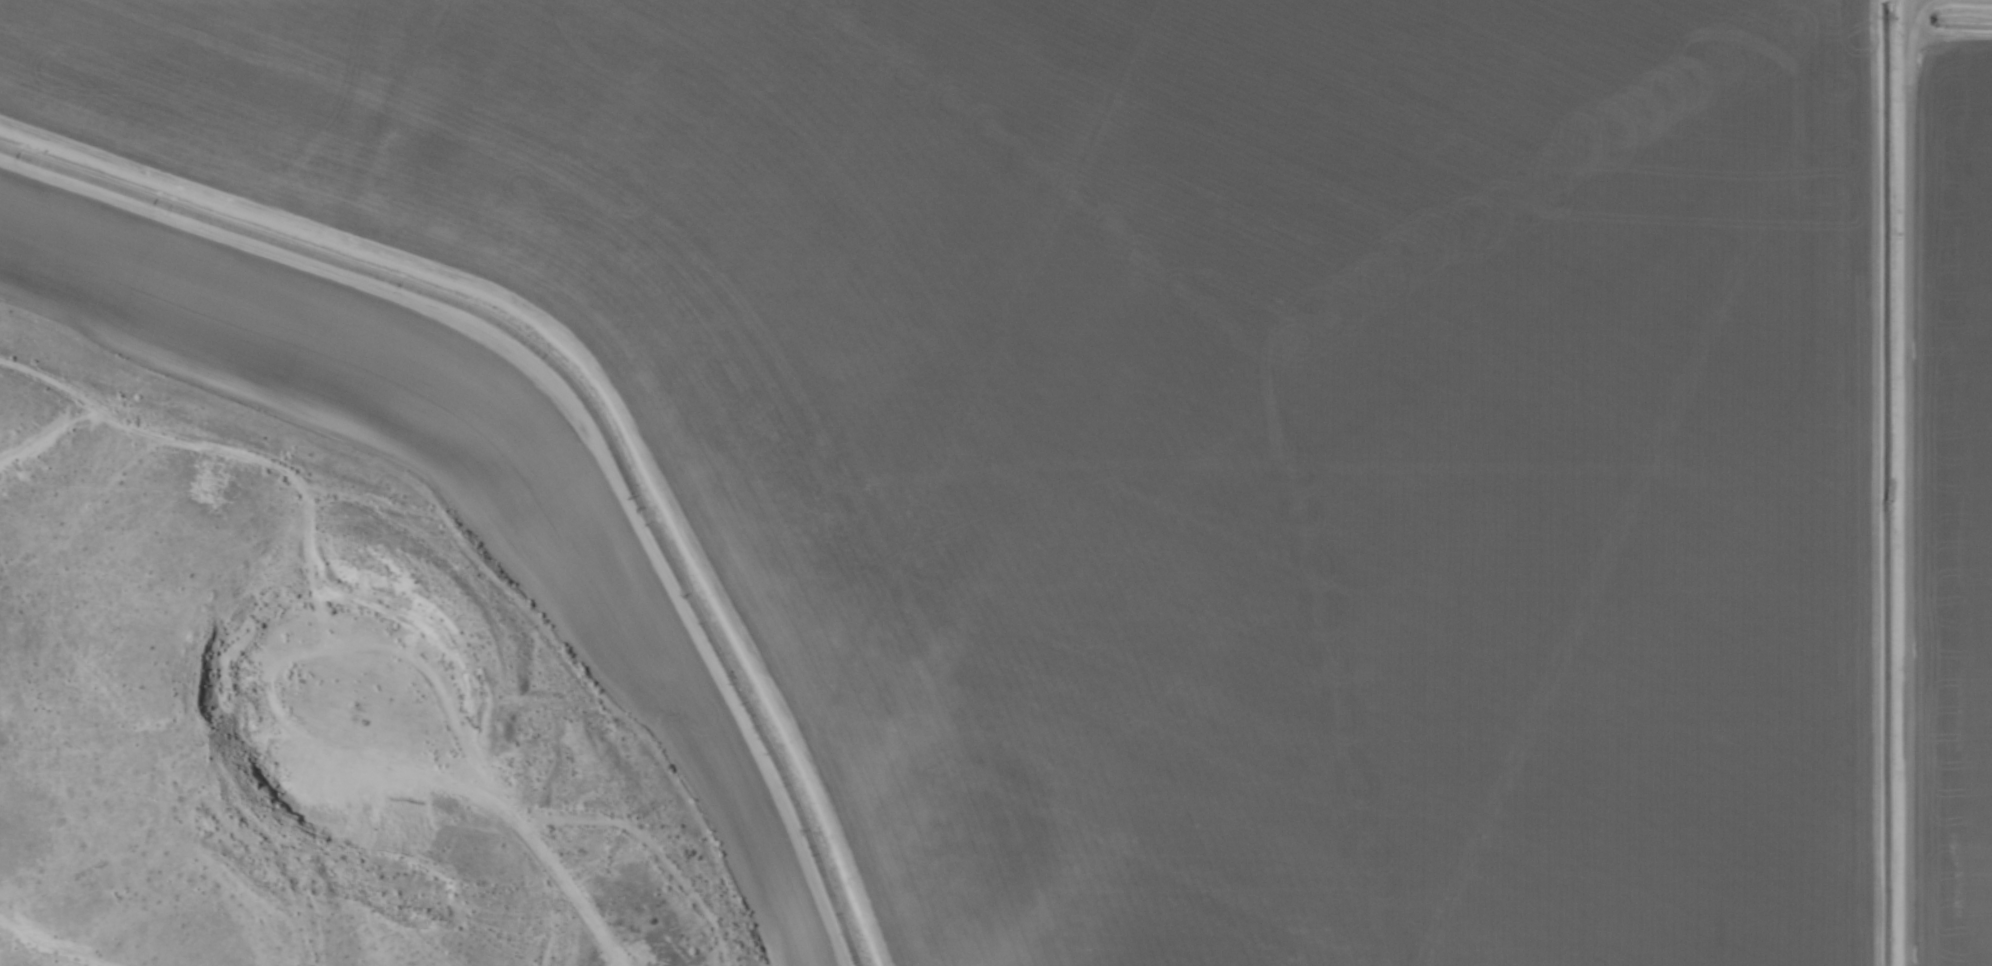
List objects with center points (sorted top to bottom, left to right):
crop: (1234, 436)
road: (1867, 483)
road: (417, 615)
road: (296, 793)

